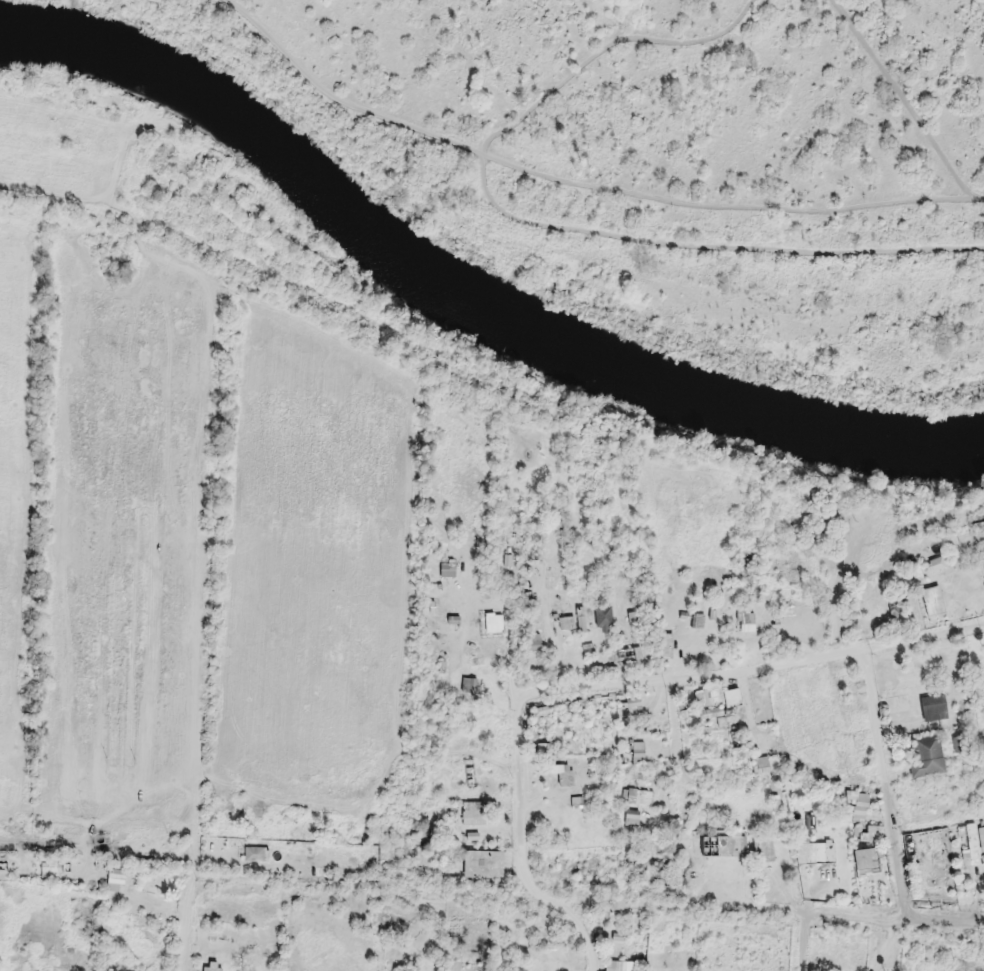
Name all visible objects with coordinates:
river: (466, 293)
road: (751, 670)
road: (890, 817)
road: (521, 849)

